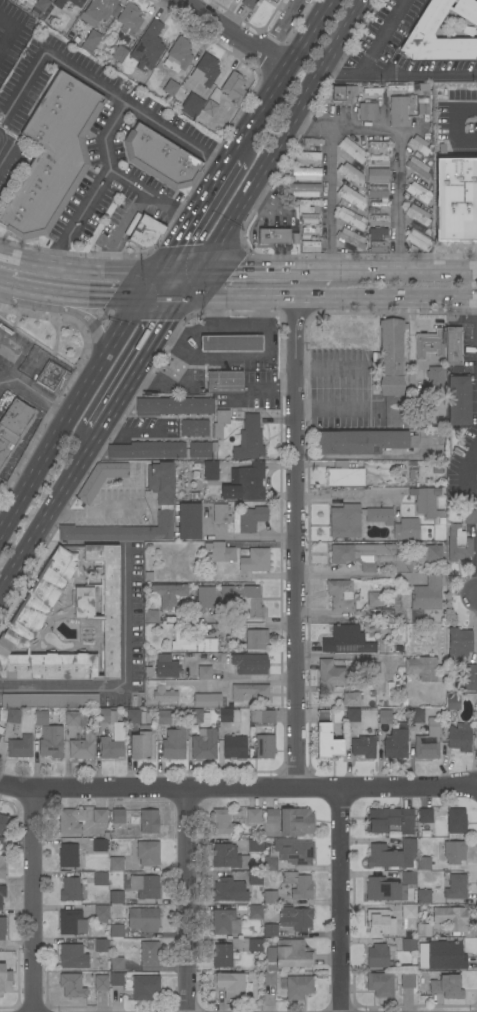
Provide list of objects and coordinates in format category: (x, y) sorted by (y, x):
building: (268, 0)
building: (271, 0)
building: (76, 2)
building: (57, 3)
building: (248, 3)
building: (41, 5)
building: (99, 11)
building: (128, 19)
road: (280, 25)
building: (422, 30)
road: (235, 32)
road: (9, 33)
road: (382, 36)
building: (89, 41)
building: (147, 46)
building: (119, 52)
building: (178, 55)
building: (204, 70)
road: (399, 72)
road: (277, 77)
road: (102, 84)
building: (233, 87)
building: (395, 87)
building: (409, 87)
building: (423, 87)
building: (169, 90)
building: (372, 90)
building: (341, 93)
building: (182, 97)
building: (455, 100)
building: (194, 105)
building: (209, 108)
building: (422, 108)
building: (366, 111)
building: (397, 111)
road: (279, 134)
building: (311, 141)
building: (418, 144)
building: (377, 147)
road: (398, 148)
building: (351, 150)
building: (51, 157)
building: (307, 157)
building: (376, 157)
building: (160, 158)
building: (356, 165)
building: (418, 166)
building: (452, 166)
building: (14, 170)
building: (305, 173)
building: (350, 173)
building: (377, 175)
building: (418, 178)
road: (97, 183)
building: (374, 187)
building: (304, 189)
building: (416, 192)
road: (147, 193)
building: (376, 194)
building: (350, 197)
road: (330, 198)
building: (378, 203)
building: (307, 205)
building: (370, 209)
road: (191, 212)
building: (416, 214)
building: (377, 217)
building: (308, 218)
building: (350, 218)
building: (309, 229)
road: (458, 229)
building: (425, 231)
building: (377, 233)
building: (145, 235)
building: (275, 236)
building: (305, 236)
building: (350, 238)
building: (417, 239)
building: (377, 243)
building: (309, 246)
building: (347, 247)
building: (376, 249)
road: (97, 268)
traffic signals: (197, 269)
road: (264, 269)
traffic signals: (155, 270)
road: (404, 271)
road: (188, 283)
road: (19, 286)
road: (87, 293)
traffic signals: (136, 296)
traffic signals: (180, 298)
road: (306, 299)
road: (212, 312)
road: (82, 313)
road: (126, 313)
road: (218, 326)
building: (429, 343)
building: (230, 344)
building: (452, 346)
building: (390, 356)
road: (21, 363)
road: (137, 365)
road: (331, 368)
building: (52, 378)
building: (434, 378)
building: (223, 381)
road: (9, 384)
road: (272, 387)
road: (43, 398)
building: (458, 400)
building: (173, 406)
road: (331, 409)
building: (219, 423)
building: (12, 425)
building: (194, 428)
road: (128, 432)
building: (248, 439)
road: (49, 442)
building: (363, 442)
building: (200, 449)
building: (147, 450)
road: (368, 457)
road: (471, 465)
building: (210, 470)
building: (344, 474)
building: (99, 479)
building: (247, 481)
road: (348, 495)
building: (164, 498)
building: (425, 502)
road: (47, 509)
road: (91, 513)
building: (219, 513)
building: (469, 517)
building: (248, 519)
building: (187, 521)
building: (344, 521)
building: (393, 522)
road: (0, 525)
road: (254, 537)
building: (457, 544)
road: (296, 545)
building: (219, 552)
building: (430, 555)
building: (369, 556)
building: (254, 560)
road: (324, 571)
building: (168, 594)
building: (340, 595)
building: (425, 596)
building: (205, 597)
building: (242, 599)
building: (374, 599)
building: (37, 601)
building: (388, 609)
road: (124, 616)
building: (150, 616)
building: (255, 639)
building: (347, 640)
building: (181, 642)
building: (459, 642)
building: (206, 644)
building: (395, 648)
road: (339, 657)
building: (249, 664)
building: (164, 666)
building: (365, 666)
building: (421, 668)
building: (476, 671)
building: (203, 673)
building: (329, 676)
building: (469, 677)
road: (243, 681)
road: (60, 691)
building: (161, 691)
building: (249, 692)
building: (206, 700)
building: (350, 700)
building: (48, 702)
building: (452, 702)
building: (476, 711)
building: (105, 715)
building: (194, 715)
building: (228, 715)
building: (352, 715)
building: (416, 715)
building: (12, 716)
building: (262, 716)
building: (135, 717)
building: (165, 717)
building: (383, 717)
building: (74, 718)
building: (325, 737)
building: (459, 737)
building: (427, 741)
building: (51, 742)
building: (142, 743)
building: (173, 743)
building: (203, 744)
building: (395, 744)
building: (19, 746)
building: (233, 746)
building: (264, 746)
building: (363, 746)
building: (81, 747)
building: (109, 748)
road: (470, 788)
road: (231, 792)
building: (99, 816)
building: (117, 816)
building: (253, 816)
building: (271, 816)
building: (424, 816)
building: (69, 821)
building: (148, 821)
building: (390, 821)
building: (455, 821)
building: (221, 822)
building: (295, 822)
building: (5, 824)
building: (5, 843)
building: (99, 845)
building: (254, 845)
building: (453, 852)
building: (147, 853)
building: (288, 853)
building: (67, 855)
building: (391, 855)
building: (227, 857)
building: (423, 863)
building: (115, 864)
building: (2, 866)
building: (100, 878)
building: (255, 878)
building: (407, 878)
building: (298, 885)
building: (144, 886)
building: (455, 887)
building: (72, 889)
building: (384, 889)
building: (228, 890)
building: (2, 895)
building: (422, 896)
building: (116, 897)
building: (269, 897)
road: (338, 901)
road: (185, 902)
road: (30, 903)
building: (255, 912)
building: (100, 913)
building: (408, 914)
building: (295, 918)
building: (450, 918)
building: (142, 919)
building: (71, 922)
building: (224, 922)
building: (379, 922)
building: (116, 925)
building: (2, 928)
building: (269, 930)
building: (423, 930)
building: (408, 944)
building: (101, 945)
building: (255, 945)
building: (149, 953)
building: (221, 955)
building: (288, 955)
building: (445, 955)
building: (72, 956)
building: (376, 956)
building: (115, 964)
building: (269, 978)
building: (5, 979)
building: (116, 979)
building: (407, 981)
building: (100, 982)
building: (380, 984)
building: (71, 985)
building: (232, 985)
building: (144, 987)
building: (298, 987)
building: (446, 987)

